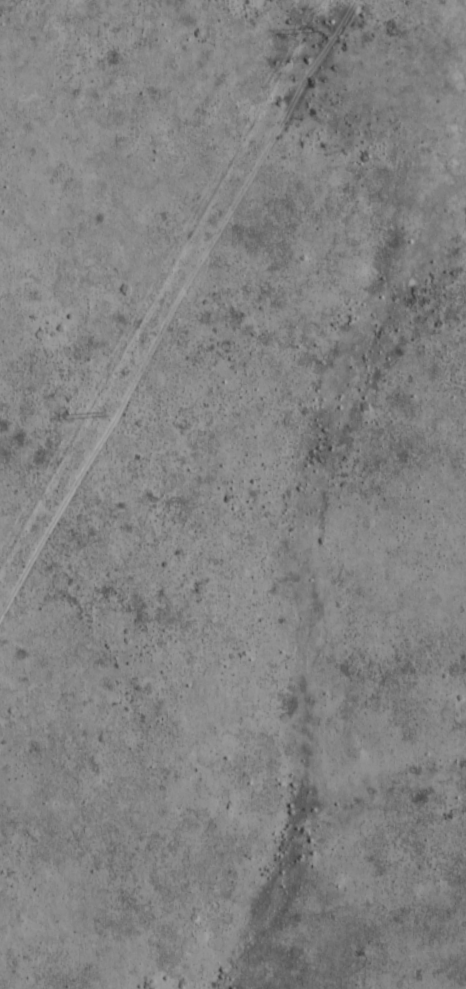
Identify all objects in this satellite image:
road: (171, 305)

